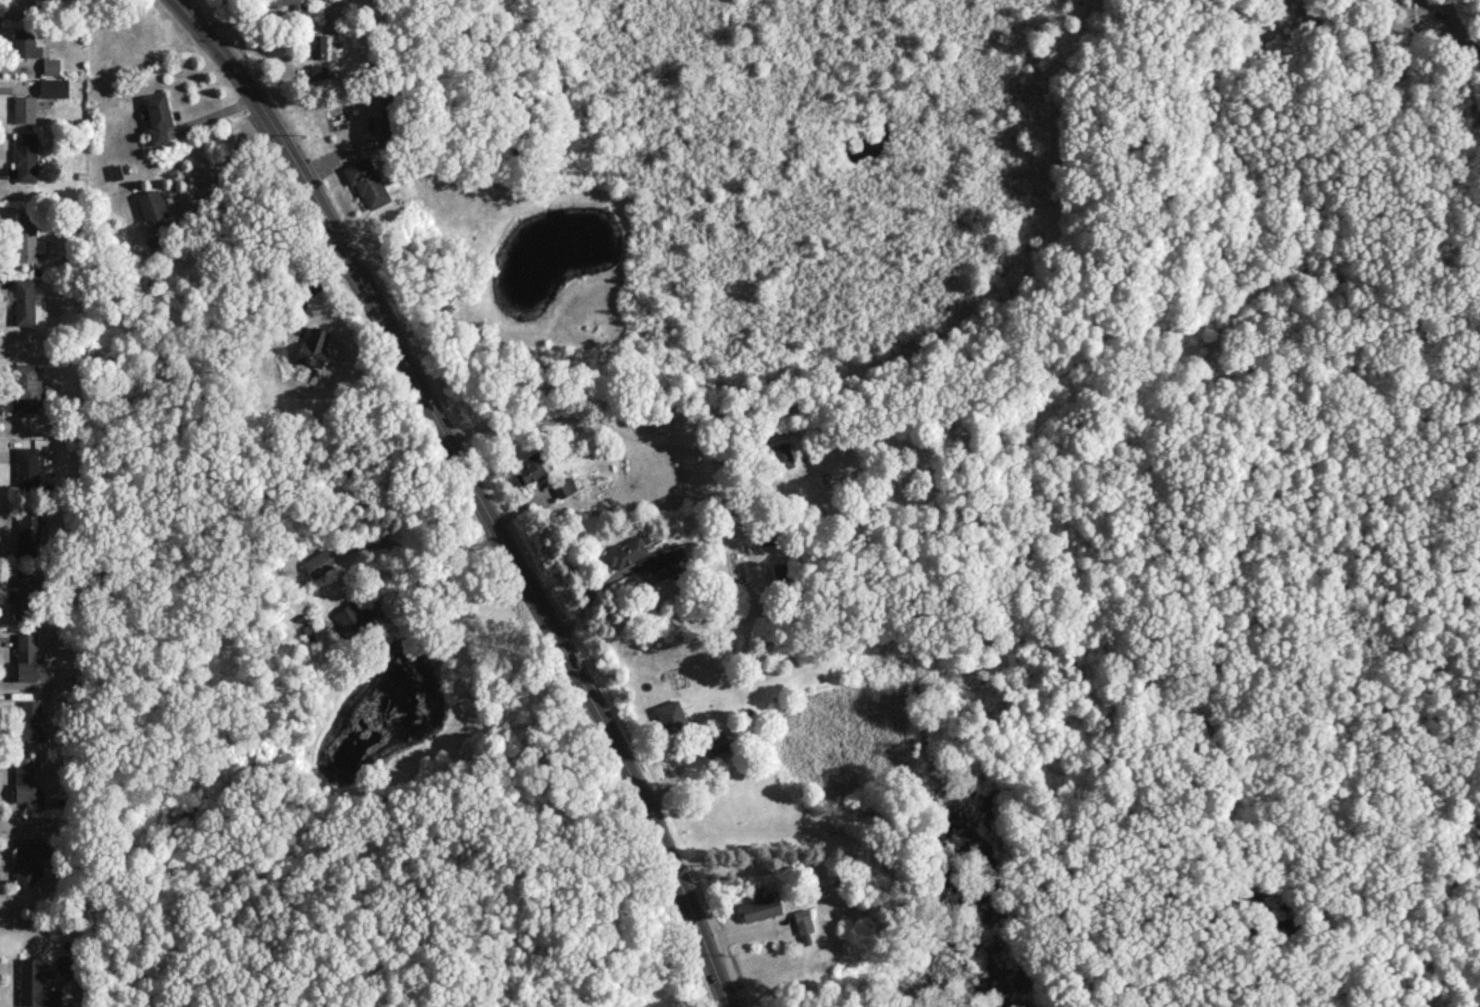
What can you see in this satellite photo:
building: (293, 8)
building: (25, 44)
building: (317, 45)
building: (51, 65)
building: (318, 69)
building: (53, 87)
building: (24, 108)
building: (157, 117)
building: (372, 122)
building: (25, 156)
road: (222, 169)
building: (366, 181)
building: (151, 204)
building: (27, 238)
building: (24, 301)
building: (313, 347)
building: (28, 387)
road: (610, 439)
building: (782, 455)
building: (27, 468)
building: (530, 468)
building: (564, 486)
road: (477, 489)
building: (28, 532)
road: (395, 544)
building: (624, 553)
building: (676, 561)
building: (319, 562)
building: (25, 594)
building: (354, 617)
building: (26, 656)
building: (670, 716)
building: (30, 721)
building: (715, 744)
building: (24, 779)
building: (30, 858)
building: (761, 907)
building: (803, 926)
building: (37, 984)

